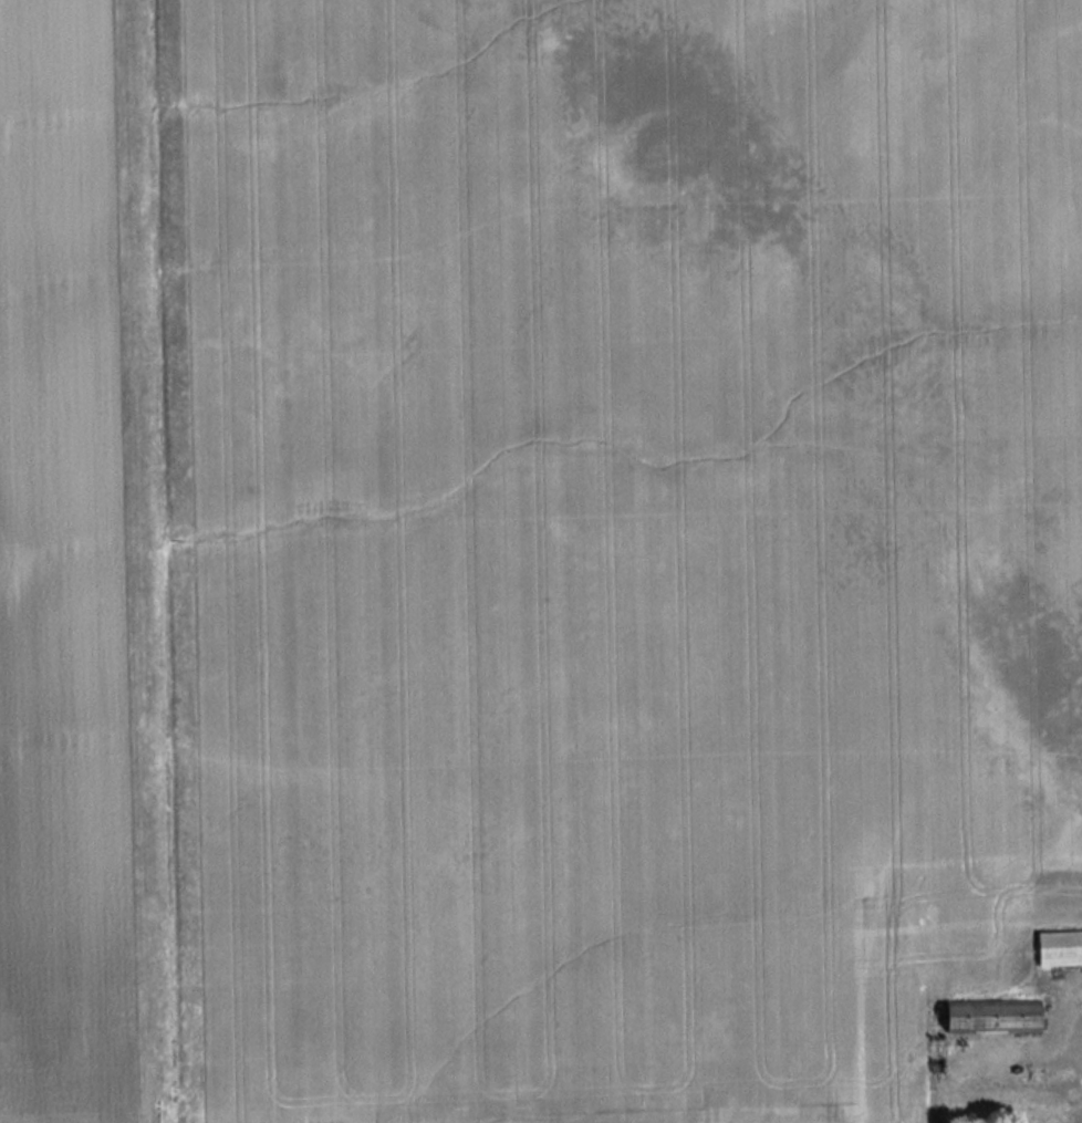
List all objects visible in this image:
building: (1059, 947)
building: (991, 1017)

